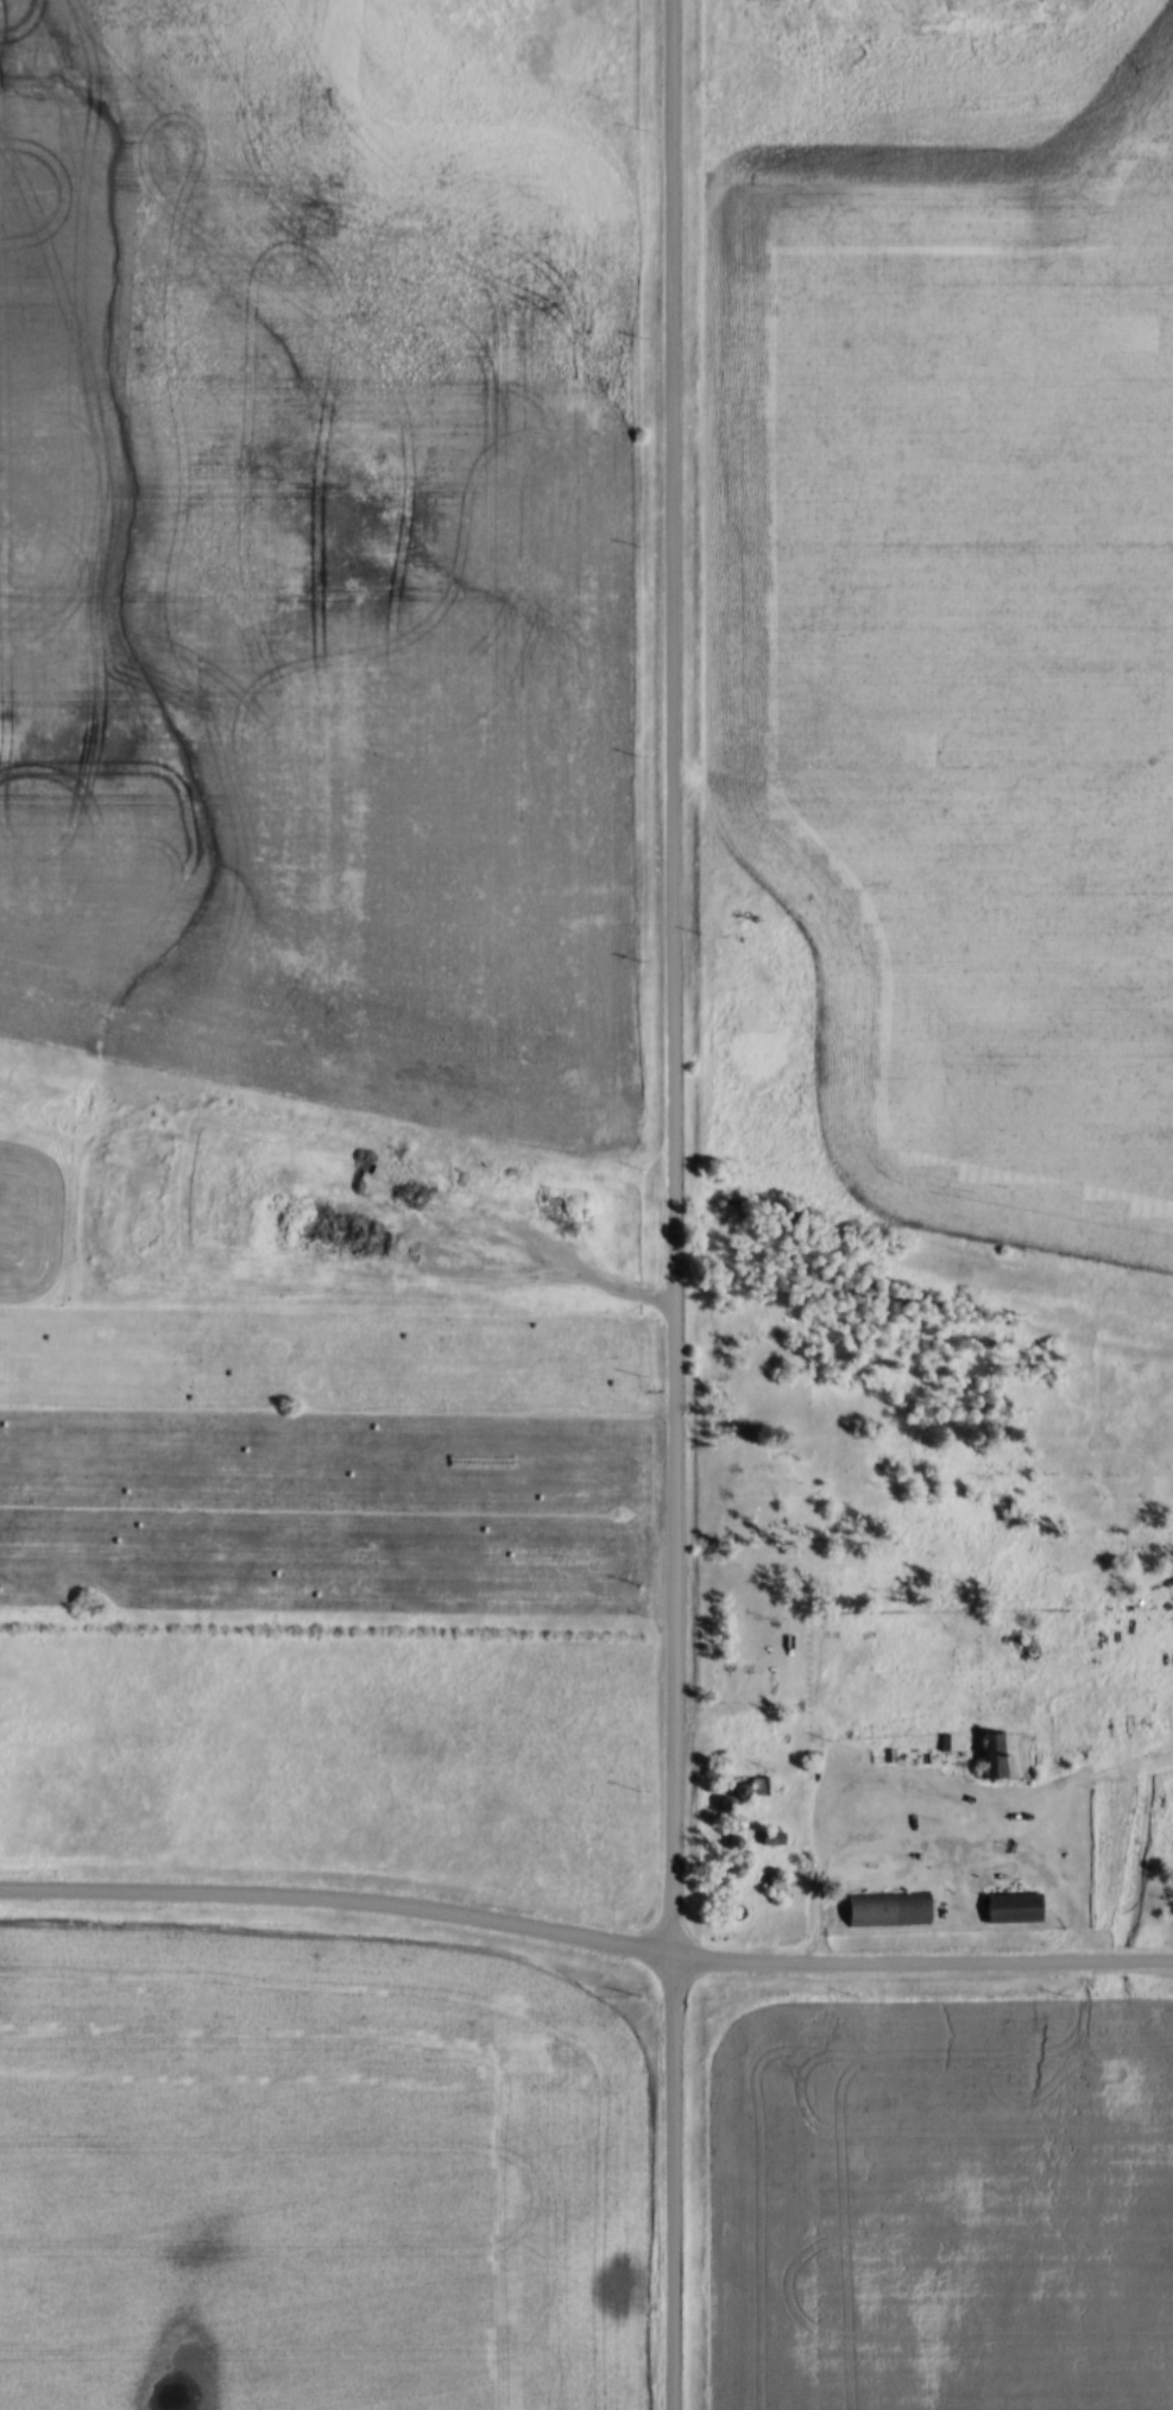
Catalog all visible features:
crop: (315, 556)
road: (673, 979)
building: (1009, 1752)
building: (758, 1785)
building: (770, 1837)
road: (339, 1898)
building: (1015, 1910)
building: (887, 1911)
road: (922, 1958)
road: (666, 2184)

